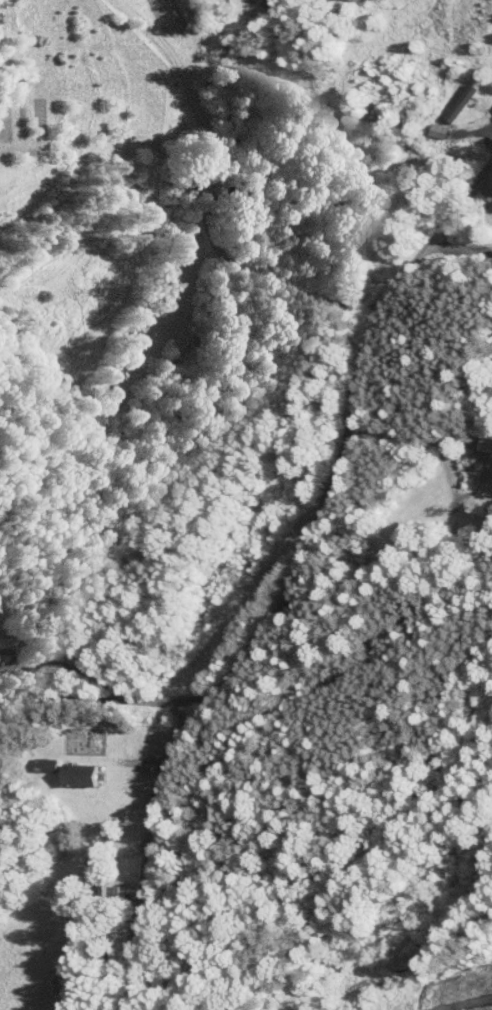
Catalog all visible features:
building: (451, 96)
building: (489, 100)
building: (490, 182)
road: (485, 187)
road: (210, 198)
road: (457, 250)
building: (480, 438)
road: (308, 551)
building: (1, 635)
road: (104, 700)
park: (85, 741)
building: (37, 759)
building: (75, 769)
building: (109, 885)

